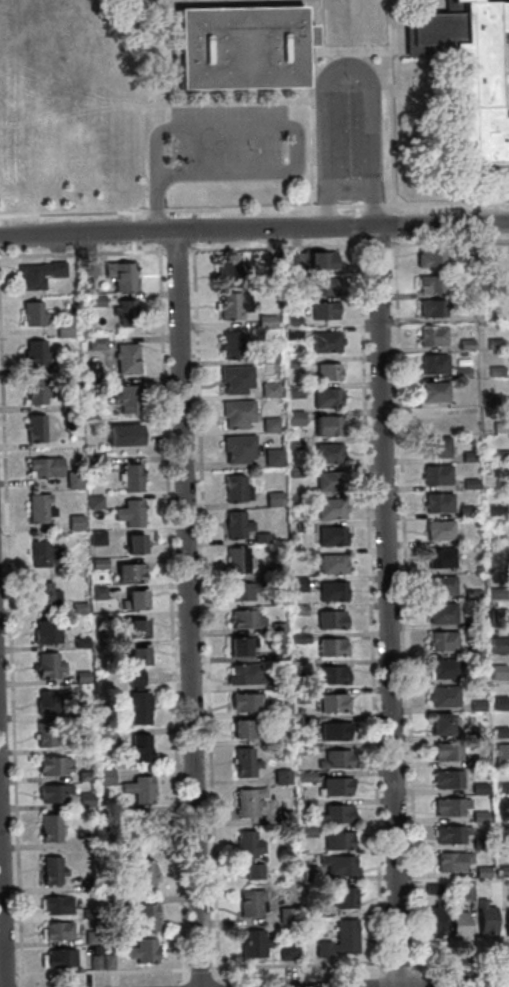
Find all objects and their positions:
road: (321, 30)
building: (241, 46)
road: (165, 52)
road: (345, 53)
road: (348, 74)
building: (468, 75)
road: (230, 101)
road: (391, 107)
road: (263, 128)
road: (445, 202)
road: (371, 204)
road: (347, 205)
road: (324, 206)
road: (157, 212)
road: (191, 214)
road: (392, 224)
road: (254, 229)
road: (192, 230)
road: (157, 238)
road: (393, 239)
road: (451, 242)
road: (375, 244)
road: (389, 244)
road: (275, 248)
road: (175, 251)
road: (81, 253)
building: (429, 257)
building: (291, 260)
building: (321, 260)
building: (87, 266)
building: (230, 268)
building: (37, 273)
building: (119, 275)
building: (430, 283)
building: (322, 285)
building: (464, 289)
building: (493, 289)
building: (94, 300)
building: (231, 305)
building: (431, 307)
building: (322, 310)
building: (125, 313)
building: (30, 314)
building: (266, 321)
building: (292, 321)
building: (62, 329)
building: (292, 333)
building: (431, 335)
building: (325, 341)
building: (94, 343)
building: (465, 344)
building: (493, 344)
building: (229, 346)
building: (34, 353)
building: (267, 355)
building: (125, 359)
building: (292, 361)
building: (69, 363)
building: (433, 364)
building: (495, 371)
building: (326, 372)
building: (461, 373)
building: (234, 378)
building: (269, 389)
building: (35, 390)
building: (293, 391)
building: (433, 391)
building: (325, 398)
building: (492, 398)
building: (127, 399)
building: (467, 400)
building: (70, 404)
building: (236, 413)
building: (294, 417)
building: (440, 418)
building: (269, 425)
building: (327, 425)
building: (499, 426)
building: (33, 428)
building: (122, 435)
building: (293, 443)
building: (435, 446)
building: (237, 447)
building: (327, 453)
building: (502, 455)
building: (468, 456)
building: (272, 457)
building: (93, 461)
building: (43, 467)
building: (295, 472)
building: (436, 474)
building: (131, 478)
building: (72, 480)
building: (328, 481)
building: (469, 483)
building: (502, 483)
building: (235, 488)
building: (272, 499)
building: (294, 500)
building: (93, 502)
building: (437, 502)
building: (37, 508)
building: (329, 508)
building: (491, 510)
building: (465, 511)
building: (129, 513)
building: (73, 522)
building: (235, 524)
building: (303, 527)
building: (438, 529)
building: (330, 536)
building: (96, 537)
building: (493, 537)
building: (260, 538)
building: (133, 544)
building: (42, 553)
building: (303, 554)
building: (438, 557)
building: (237, 560)
building: (97, 563)
building: (331, 564)
building: (76, 566)
building: (461, 567)
building: (275, 569)
building: (128, 573)
building: (298, 584)
building: (440, 584)
building: (241, 591)
building: (331, 591)
building: (496, 592)
building: (97, 593)
building: (472, 594)
building: (42, 595)
building: (276, 598)
building: (133, 600)
road: (386, 606)
building: (78, 607)
road: (186, 609)
building: (298, 610)
road: (368, 610)
road: (404, 610)
road: (204, 611)
road: (169, 613)
building: (440, 613)
building: (496, 613)
building: (244, 619)
building: (329, 619)
building: (277, 627)
building: (135, 628)
building: (47, 631)
building: (298, 638)
building: (441, 641)
building: (79, 643)
building: (498, 645)
building: (240, 646)
building: (330, 647)
building: (474, 649)
building: (278, 654)
building: (136, 656)
building: (47, 665)
building: (300, 667)
building: (442, 668)
building: (496, 672)
building: (331, 674)
building: (243, 675)
building: (80, 677)
building: (278, 682)
road: (9, 684)
building: (302, 694)
building: (442, 696)
building: (135, 700)
building: (49, 701)
building: (283, 701)
building: (244, 702)
building: (332, 703)
building: (498, 703)
building: (476, 705)
building: (83, 710)
building: (279, 710)
building: (305, 721)
building: (439, 723)
building: (241, 729)
building: (333, 730)
building: (499, 731)
building: (478, 733)
building: (43, 735)
building: (278, 736)
building: (104, 739)
building: (302, 748)
building: (138, 749)
building: (445, 751)
building: (501, 754)
building: (334, 759)
building: (478, 759)
building: (243, 763)
building: (51, 765)
building: (84, 776)
building: (280, 776)
building: (104, 777)
building: (305, 777)
building: (446, 779)
building: (334, 786)
building: (503, 787)
building: (478, 788)
building: (137, 789)
building: (52, 793)
building: (84, 800)
building: (248, 801)
building: (305, 804)
building: (449, 807)
building: (502, 810)
building: (105, 812)
building: (337, 813)
building: (283, 816)
building: (478, 816)
building: (134, 823)
building: (48, 829)
building: (306, 831)
building: (450, 834)
building: (337, 840)
building: (84, 842)
building: (502, 842)
building: (479, 843)
building: (249, 853)
building: (451, 861)
building: (338, 865)
building: (504, 870)
building: (50, 871)
building: (481, 871)
building: (307, 872)
building: (140, 875)
building: (88, 885)
building: (431, 888)
building: (465, 890)
building: (344, 897)
building: (251, 903)
building: (55, 905)
building: (88, 913)
building: (285, 915)
building: (144, 917)
building: (483, 917)
building: (434, 919)
building: (506, 921)
road: (2, 922)
building: (456, 923)
building: (56, 932)
building: (90, 937)
building: (338, 940)
building: (251, 943)
building: (141, 950)
building: (287, 951)
building: (56, 959)
road: (462, 959)
building: (106, 961)
building: (93, 962)
road: (294, 963)
road: (397, 964)
road: (383, 965)
road: (411, 965)
road: (198, 969)
road: (100, 973)
road: (6, 977)
road: (416, 981)
road: (380, 982)
road: (216, 984)
road: (182, 985)
road: (467, 986)

